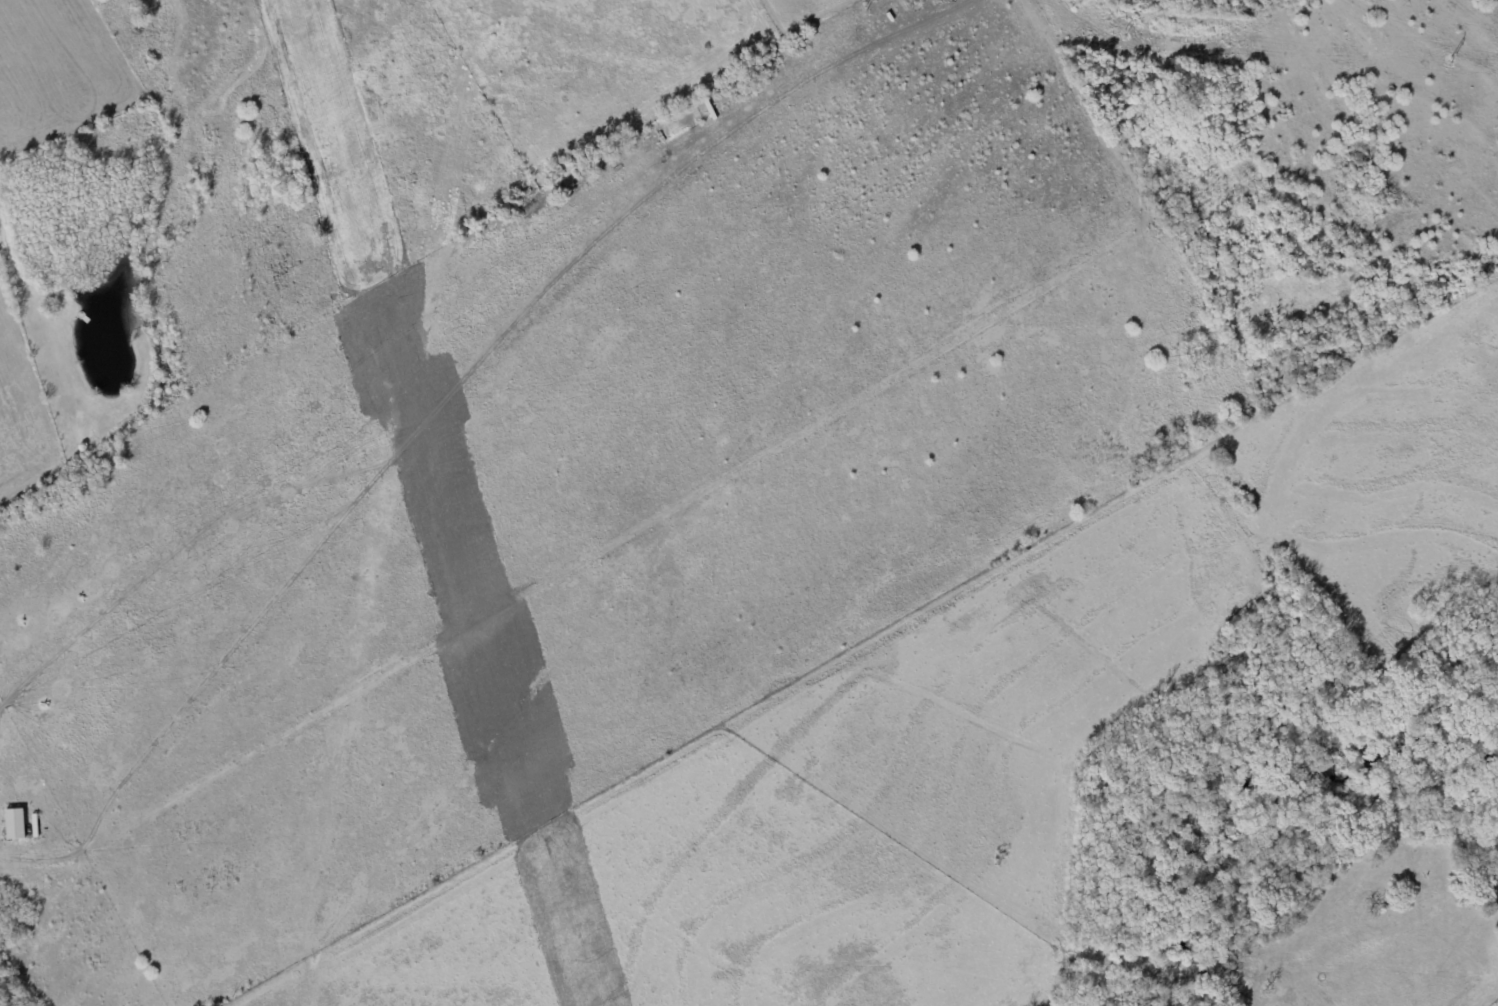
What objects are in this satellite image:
power tower: (864, 11)
power tower: (1125, 34)
power tower: (1455, 61)
road: (688, 499)
building: (13, 822)

